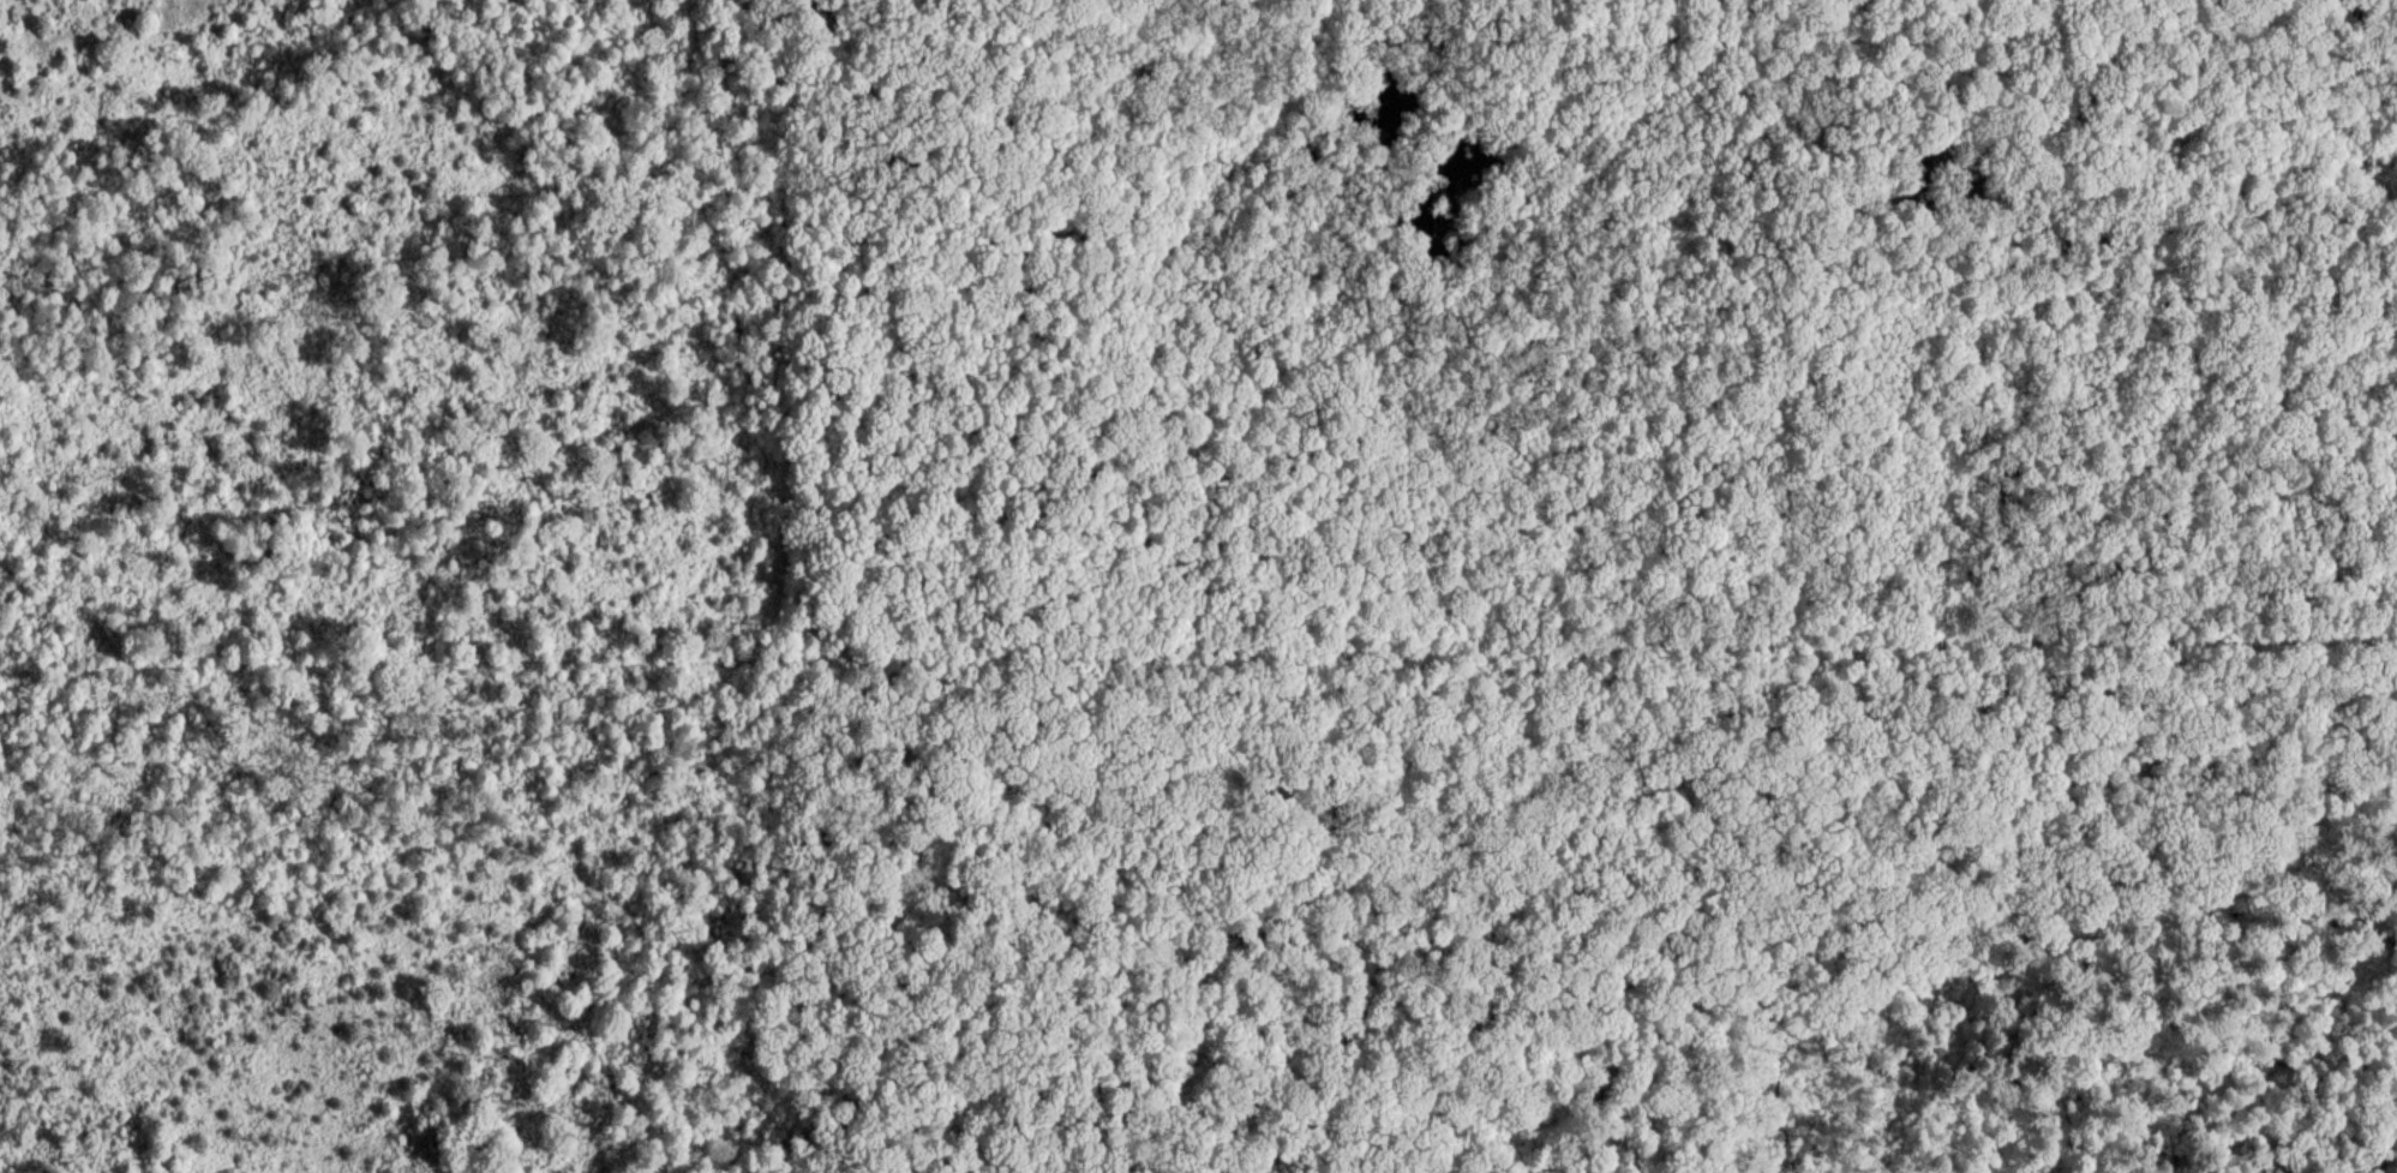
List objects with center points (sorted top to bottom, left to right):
road: (1198, 663)

